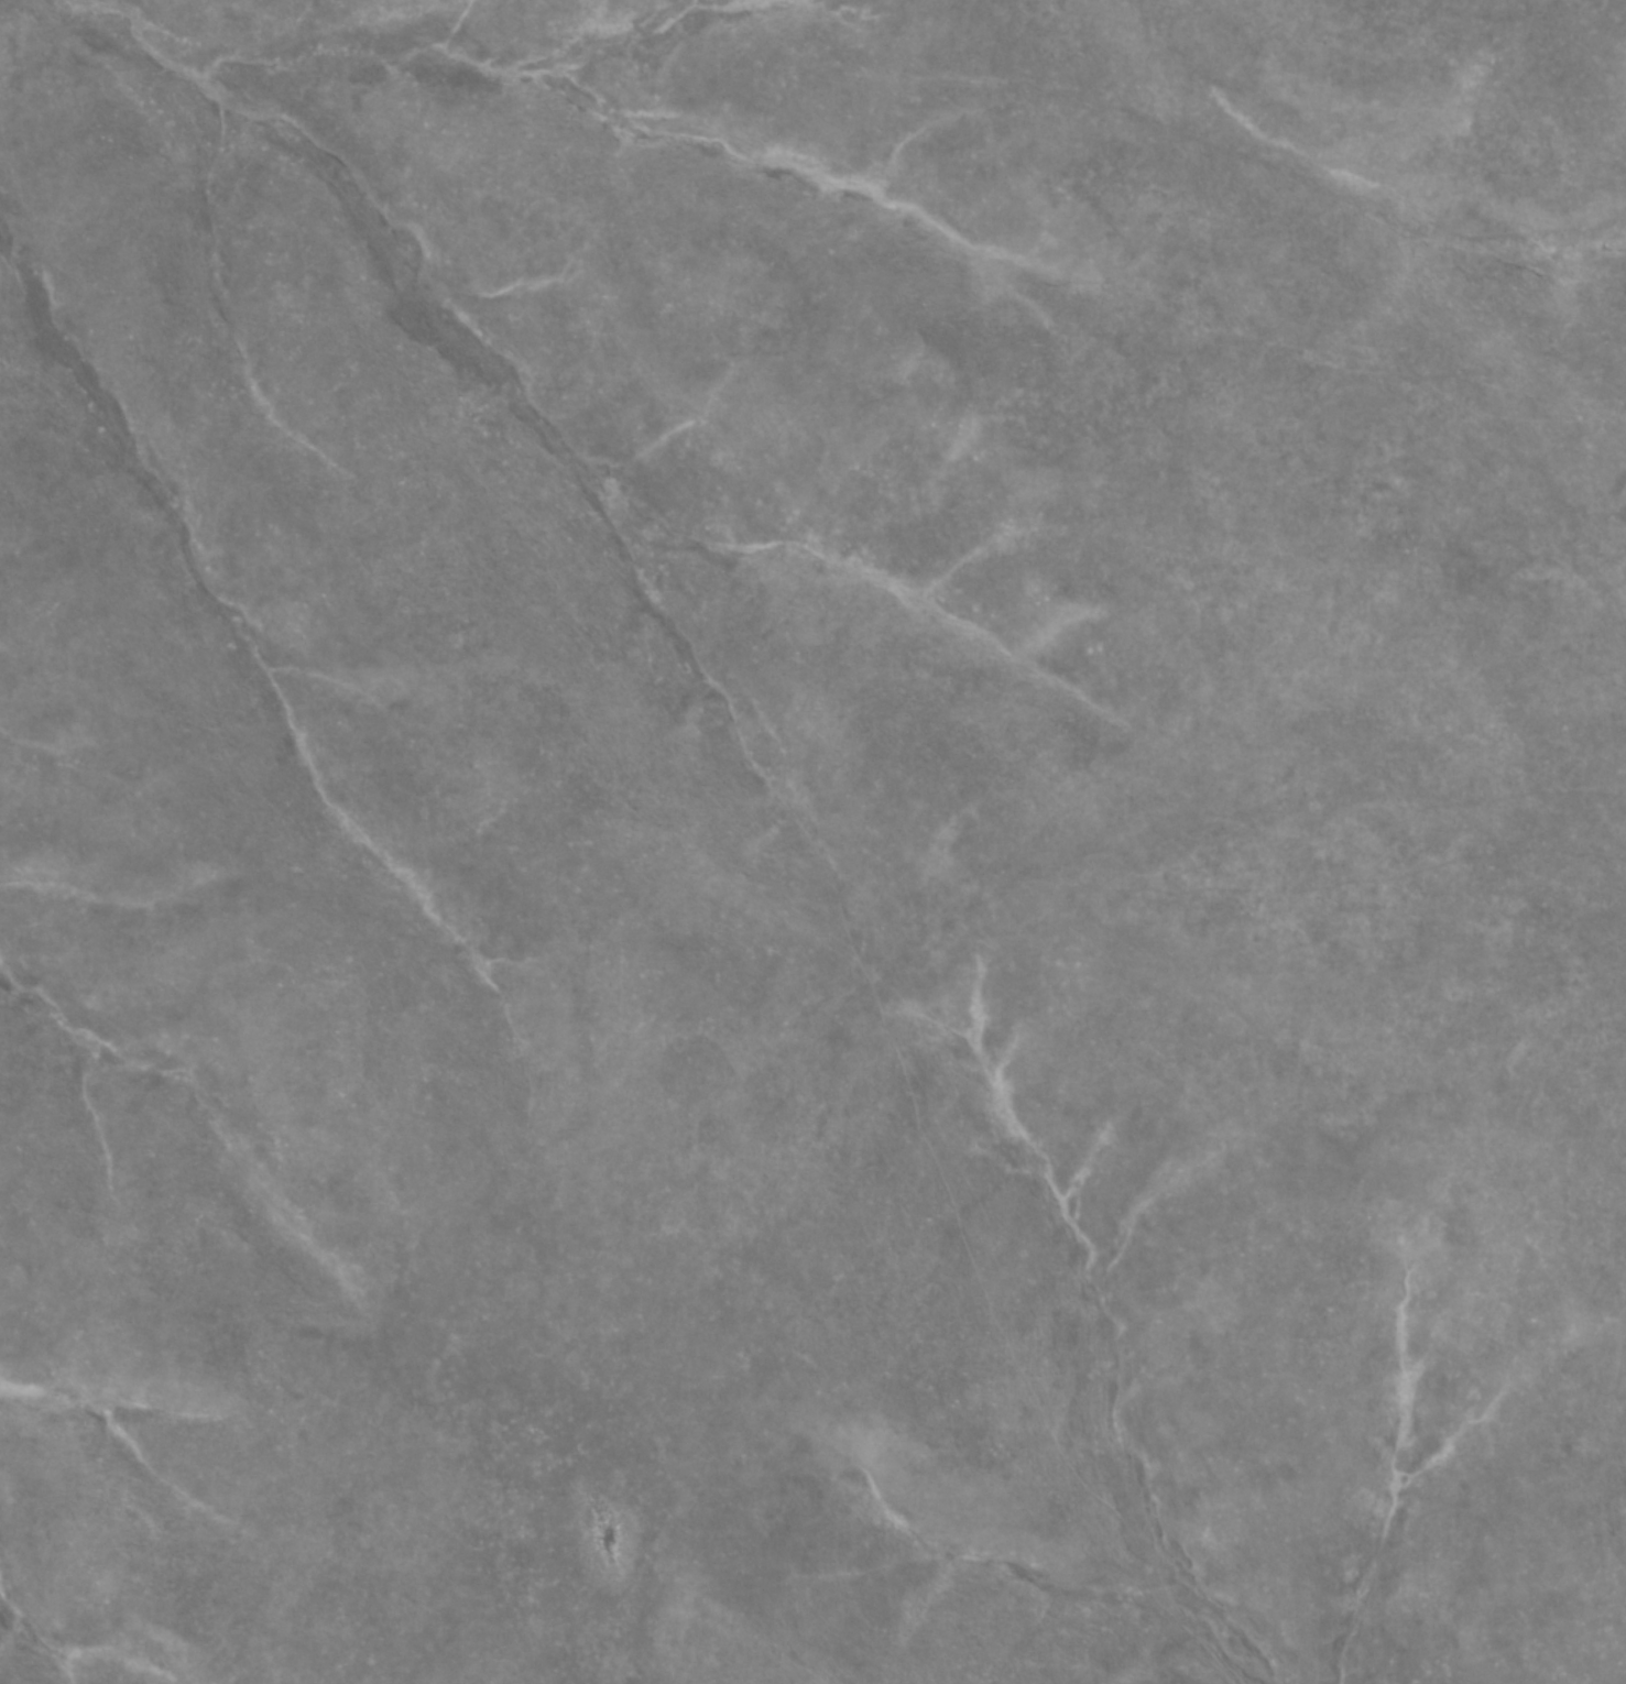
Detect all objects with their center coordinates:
road: (1313, 339)

